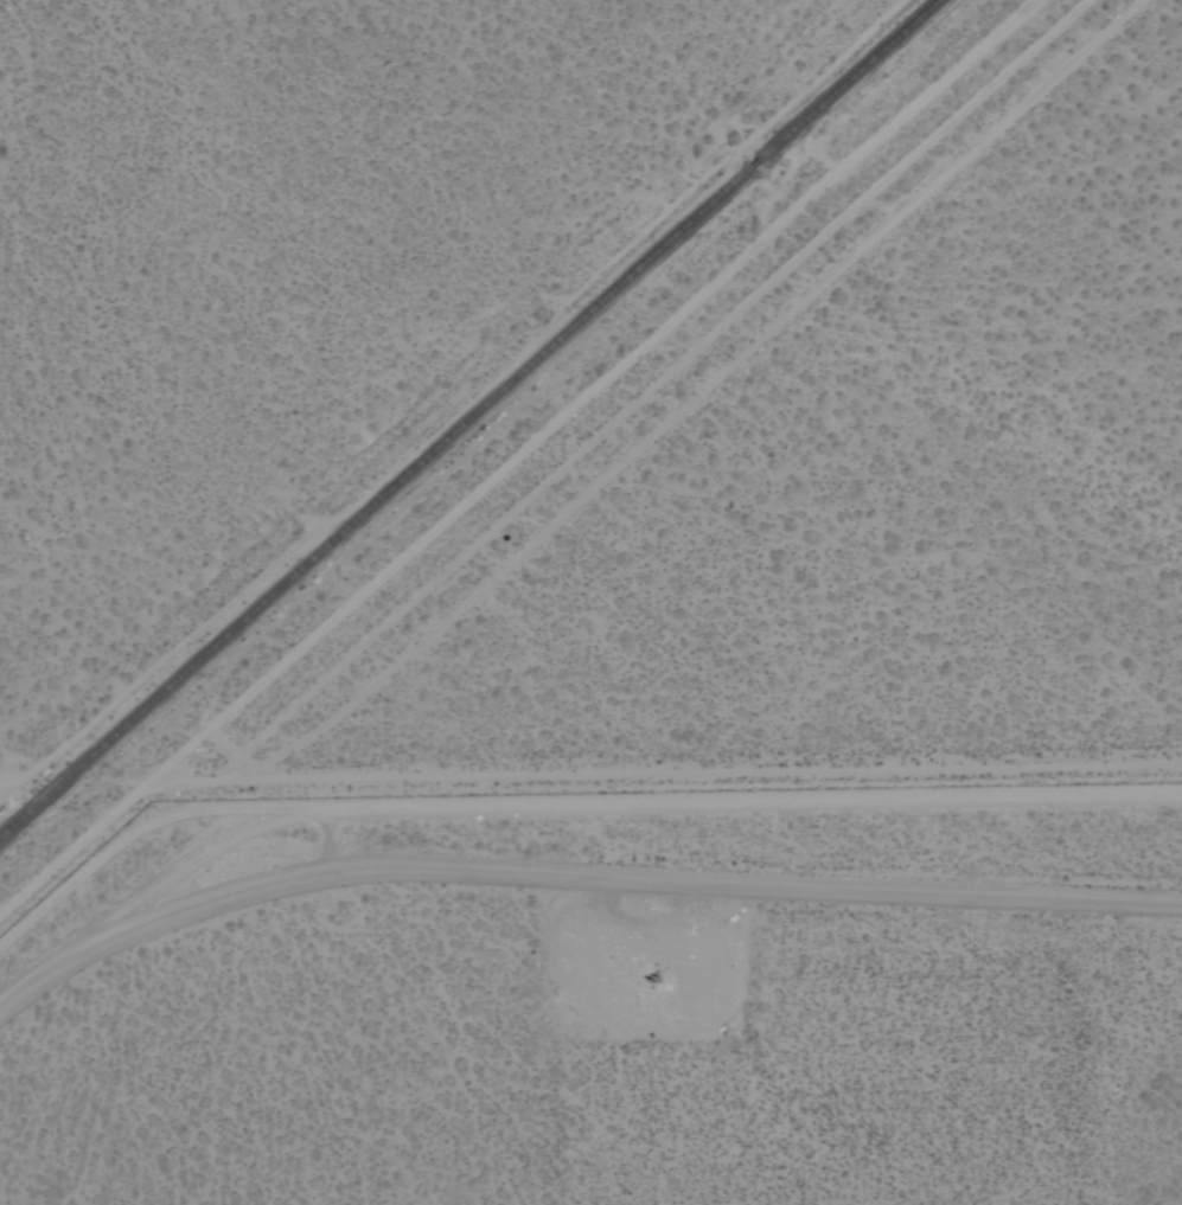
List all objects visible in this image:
road: (657, 391)
road: (697, 397)
railway: (471, 419)
road: (161, 662)
road: (672, 774)
road: (161, 874)
road: (576, 879)
airport: (608, 1002)

